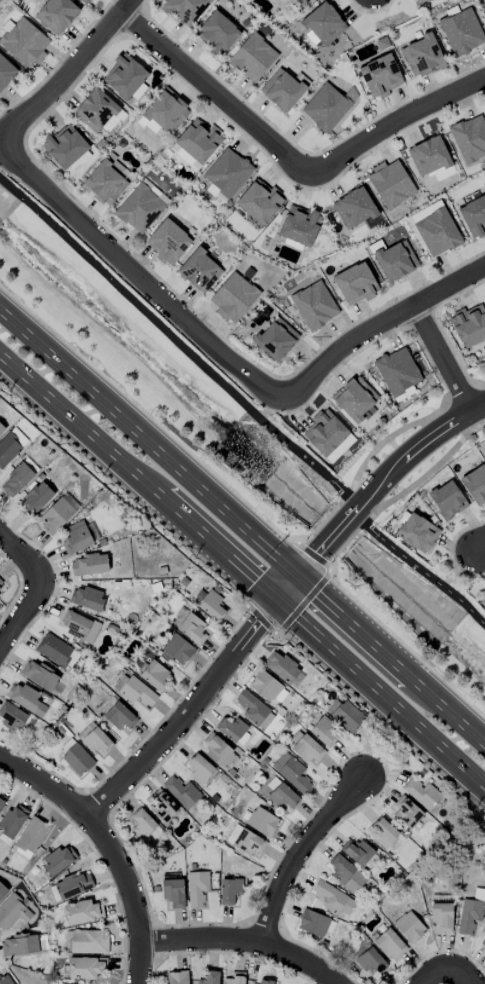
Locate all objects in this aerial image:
building: (84, 1)
building: (420, 1)
building: (302, 2)
building: (185, 9)
building: (483, 10)
building: (56, 15)
building: (324, 24)
building: (462, 32)
building: (217, 34)
building: (25, 43)
building: (422, 56)
building: (252, 58)
building: (6, 72)
road: (66, 73)
building: (125, 76)
building: (380, 76)
building: (283, 89)
road: (217, 94)
building: (325, 108)
building: (95, 110)
building: (163, 112)
road: (397, 121)
building: (469, 139)
building: (198, 140)
building: (64, 146)
building: (429, 156)
building: (183, 157)
park: (0, 171)
building: (227, 172)
building: (105, 182)
building: (390, 184)
building: (155, 191)
building: (216, 194)
building: (259, 201)
building: (139, 208)
building: (354, 208)
building: (474, 216)
building: (299, 226)
building: (437, 233)
building: (168, 242)
building: (396, 261)
building: (199, 271)
road: (139, 277)
building: (355, 284)
building: (233, 297)
building: (314, 305)
road: (378, 325)
building: (469, 325)
building: (276, 339)
road: (442, 359)
park: (155, 365)
building: (397, 371)
park: (477, 373)
building: (356, 400)
road: (242, 404)
road: (141, 411)
building: (1, 430)
building: (324, 433)
park: (390, 439)
road: (149, 443)
building: (8, 449)
road: (138, 478)
building: (16, 480)
road: (383, 480)
building: (475, 485)
road: (119, 486)
building: (35, 500)
building: (447, 500)
building: (58, 514)
building: (417, 533)
building: (76, 538)
road: (282, 539)
road: (481, 549)
road: (313, 556)
building: (89, 565)
road: (457, 568)
traffic signals: (300, 575)
park: (423, 581)
building: (1, 585)
road: (335, 587)
road: (20, 588)
road: (288, 588)
road: (35, 590)
road: (55, 591)
road: (240, 592)
building: (87, 598)
building: (484, 600)
traffic signals: (276, 602)
road: (303, 604)
building: (211, 606)
road: (260, 621)
building: (79, 627)
building: (192, 629)
road: (263, 638)
building: (178, 649)
building: (57, 651)
road: (411, 653)
road: (392, 657)
building: (284, 669)
building: (39, 675)
building: (155, 676)
building: (265, 686)
building: (134, 690)
road: (380, 696)
building: (25, 699)
building: (107, 706)
road: (174, 708)
building: (252, 708)
road: (186, 714)
building: (347, 716)
building: (12, 717)
building: (120, 717)
road: (386, 724)
road: (193, 728)
building: (231, 729)
building: (324, 732)
building: (97, 741)
building: (305, 748)
building: (217, 749)
road: (374, 755)
building: (77, 760)
road: (38, 764)
building: (200, 769)
building: (292, 772)
building: (181, 792)
building: (422, 793)
road: (93, 794)
building: (280, 794)
building: (1, 801)
road: (98, 805)
building: (162, 806)
road: (73, 807)
building: (406, 812)
building: (12, 821)
building: (262, 822)
building: (142, 824)
road: (110, 829)
road: (96, 830)
building: (383, 833)
road: (98, 834)
building: (31, 838)
building: (245, 841)
road: (301, 850)
building: (357, 852)
road: (98, 858)
building: (59, 860)
road: (135, 868)
building: (346, 874)
building: (197, 888)
building: (230, 890)
building: (2, 891)
building: (173, 892)
building: (333, 898)
building: (83, 912)
building: (471, 912)
building: (13, 913)
building: (442, 916)
road: (255, 922)
building: (315, 923)
road: (137, 924)
road: (200, 925)
road: (266, 927)
building: (409, 927)
road: (159, 928)
road: (245, 939)
road: (156, 940)
road: (284, 940)
building: (42, 942)
building: (86, 942)
building: (483, 943)
building: (389, 944)
building: (20, 945)
road: (441, 952)
road: (244, 955)
road: (324, 958)
building: (370, 961)
road: (137, 962)
road: (138, 963)
road: (150, 966)
building: (86, 967)
road: (445, 969)
road: (151, 975)
building: (177, 977)
building: (209, 977)
building: (235, 978)
building: (4, 979)
building: (265, 981)

